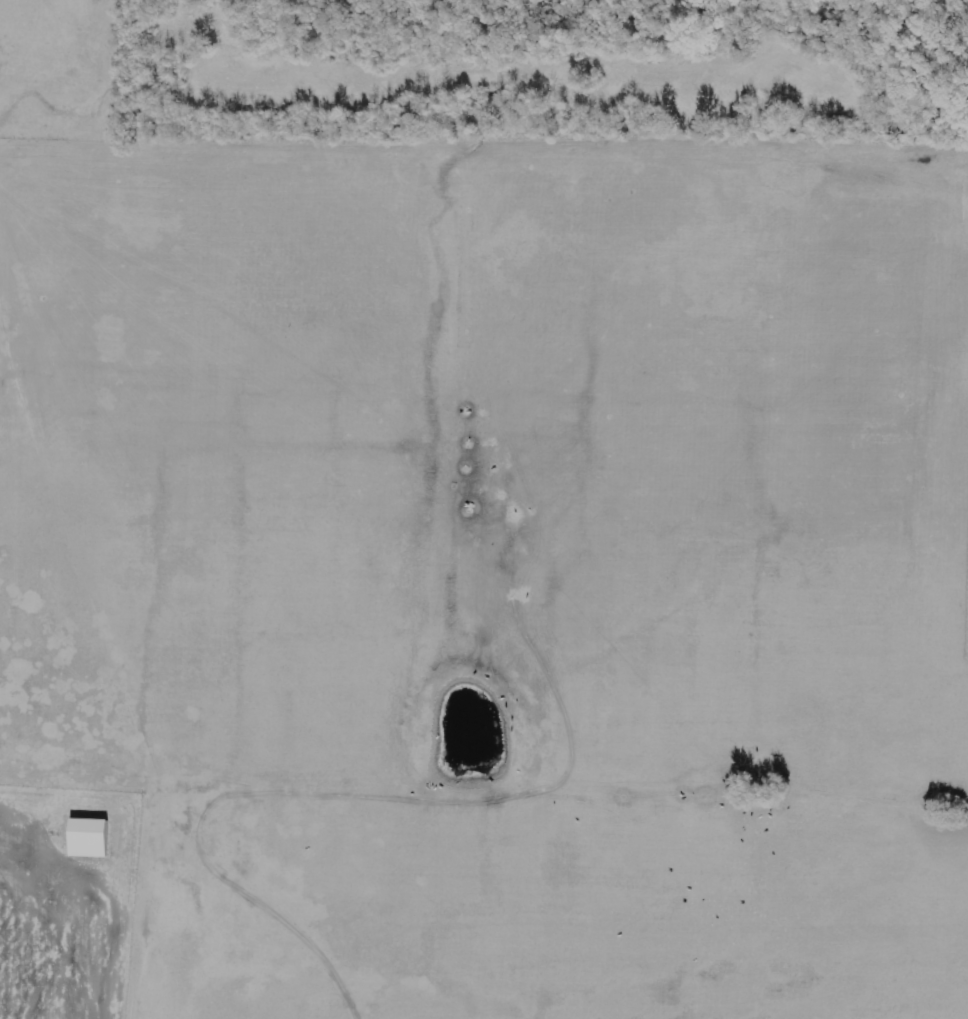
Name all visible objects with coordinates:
building: (86, 837)

